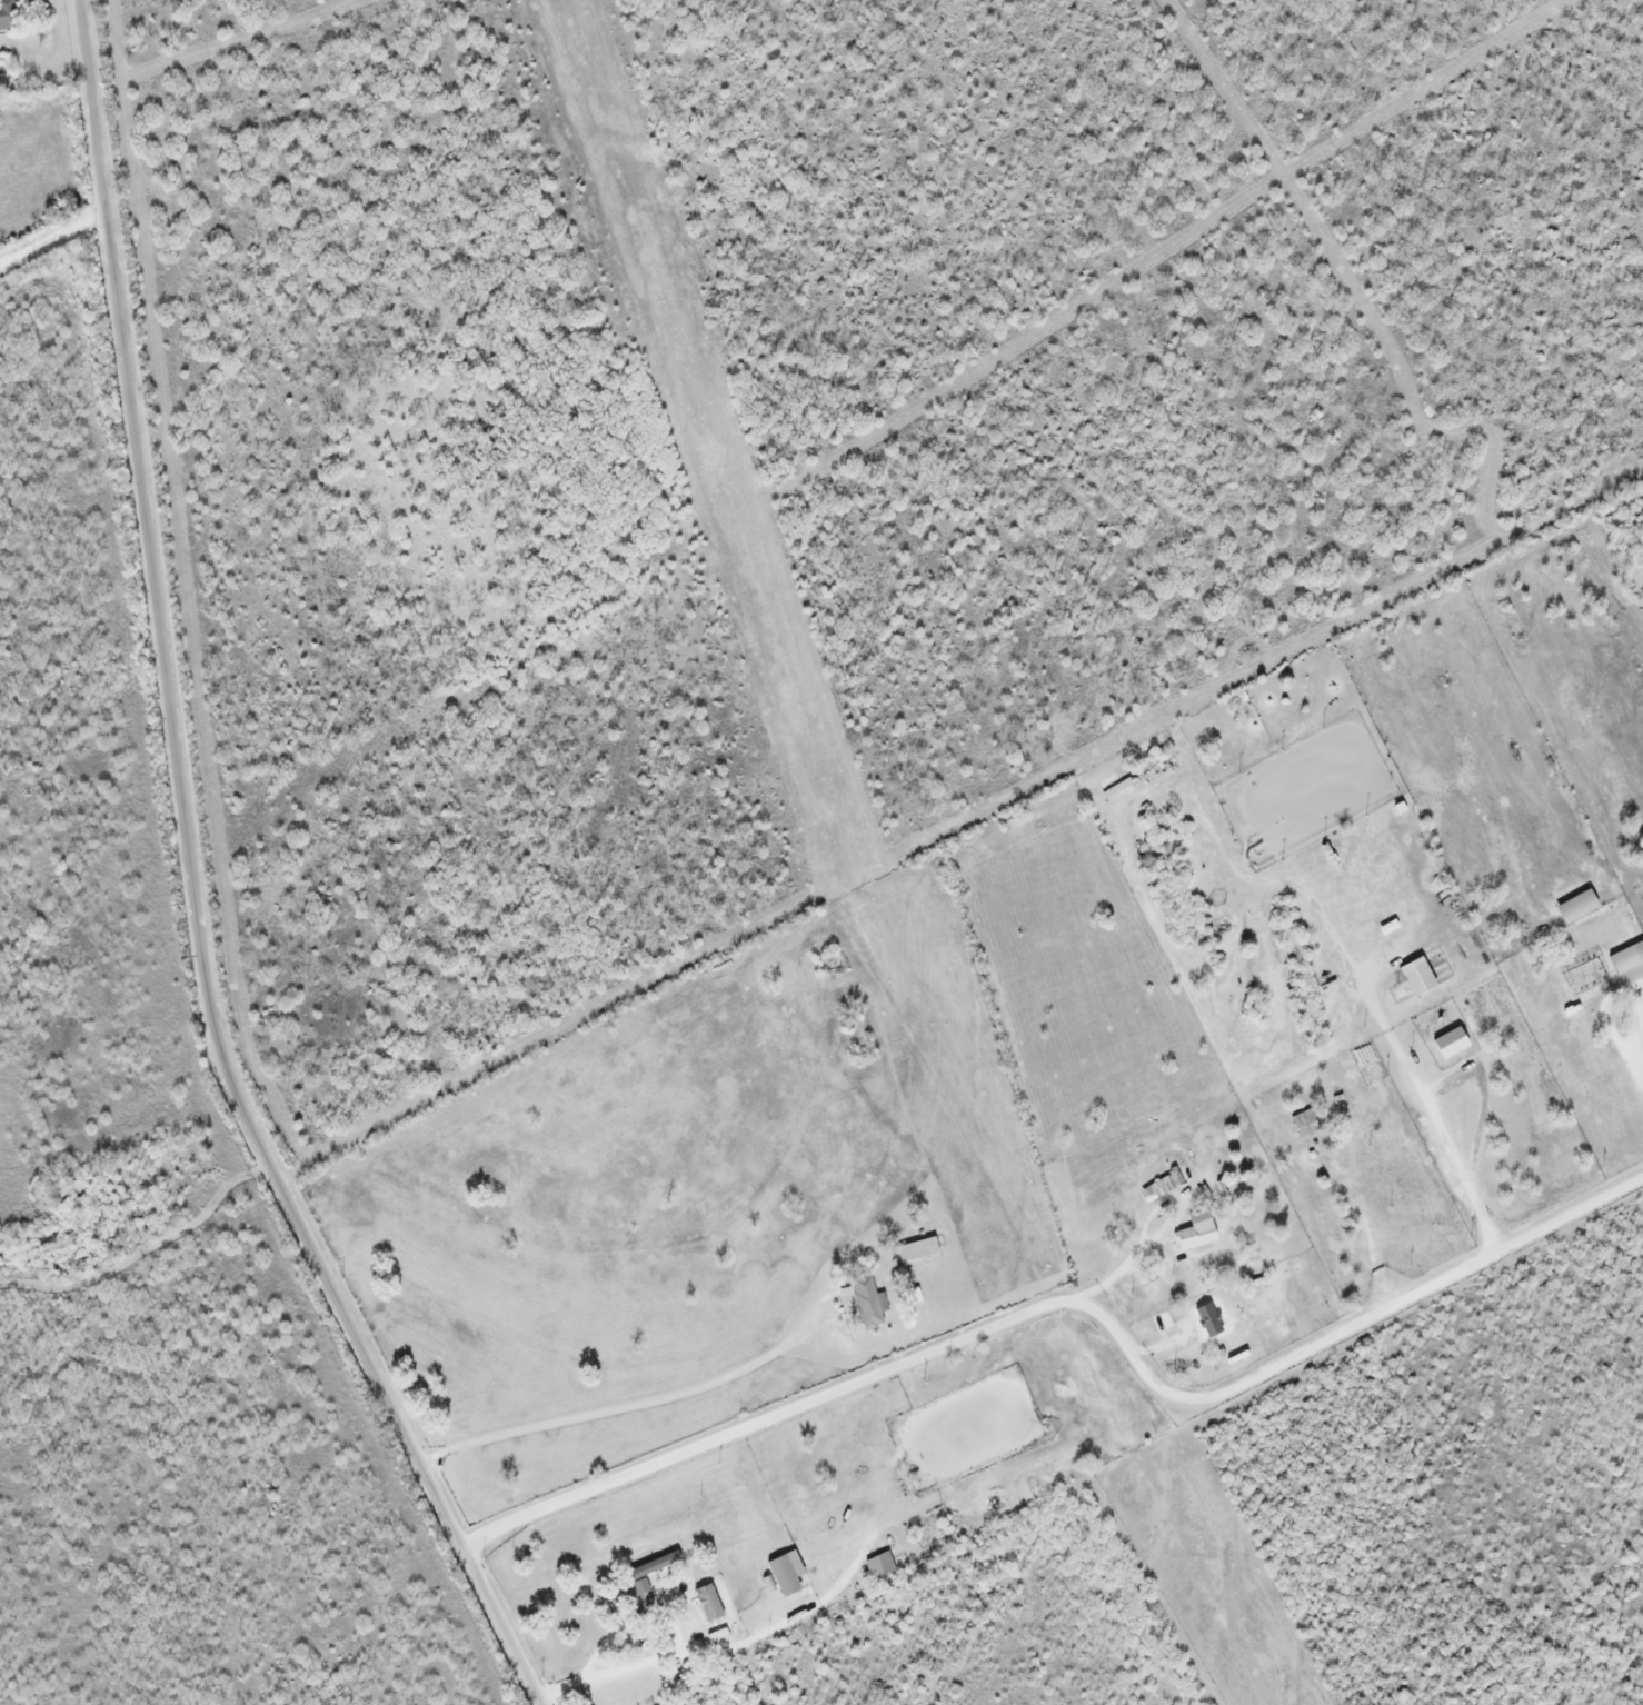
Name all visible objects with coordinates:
building: (9, 13)
road: (51, 241)
road: (191, 886)
building: (1579, 906)
building: (1629, 963)
building: (1452, 1043)
building: (1305, 1123)
building: (1358, 1130)
building: (1197, 1232)
building: (918, 1249)
building: (869, 1302)
road: (1075, 1302)
building: (1211, 1319)
road: (635, 1408)
building: (879, 1565)
building: (787, 1573)
road: (1158, 1579)
building: (709, 1603)

